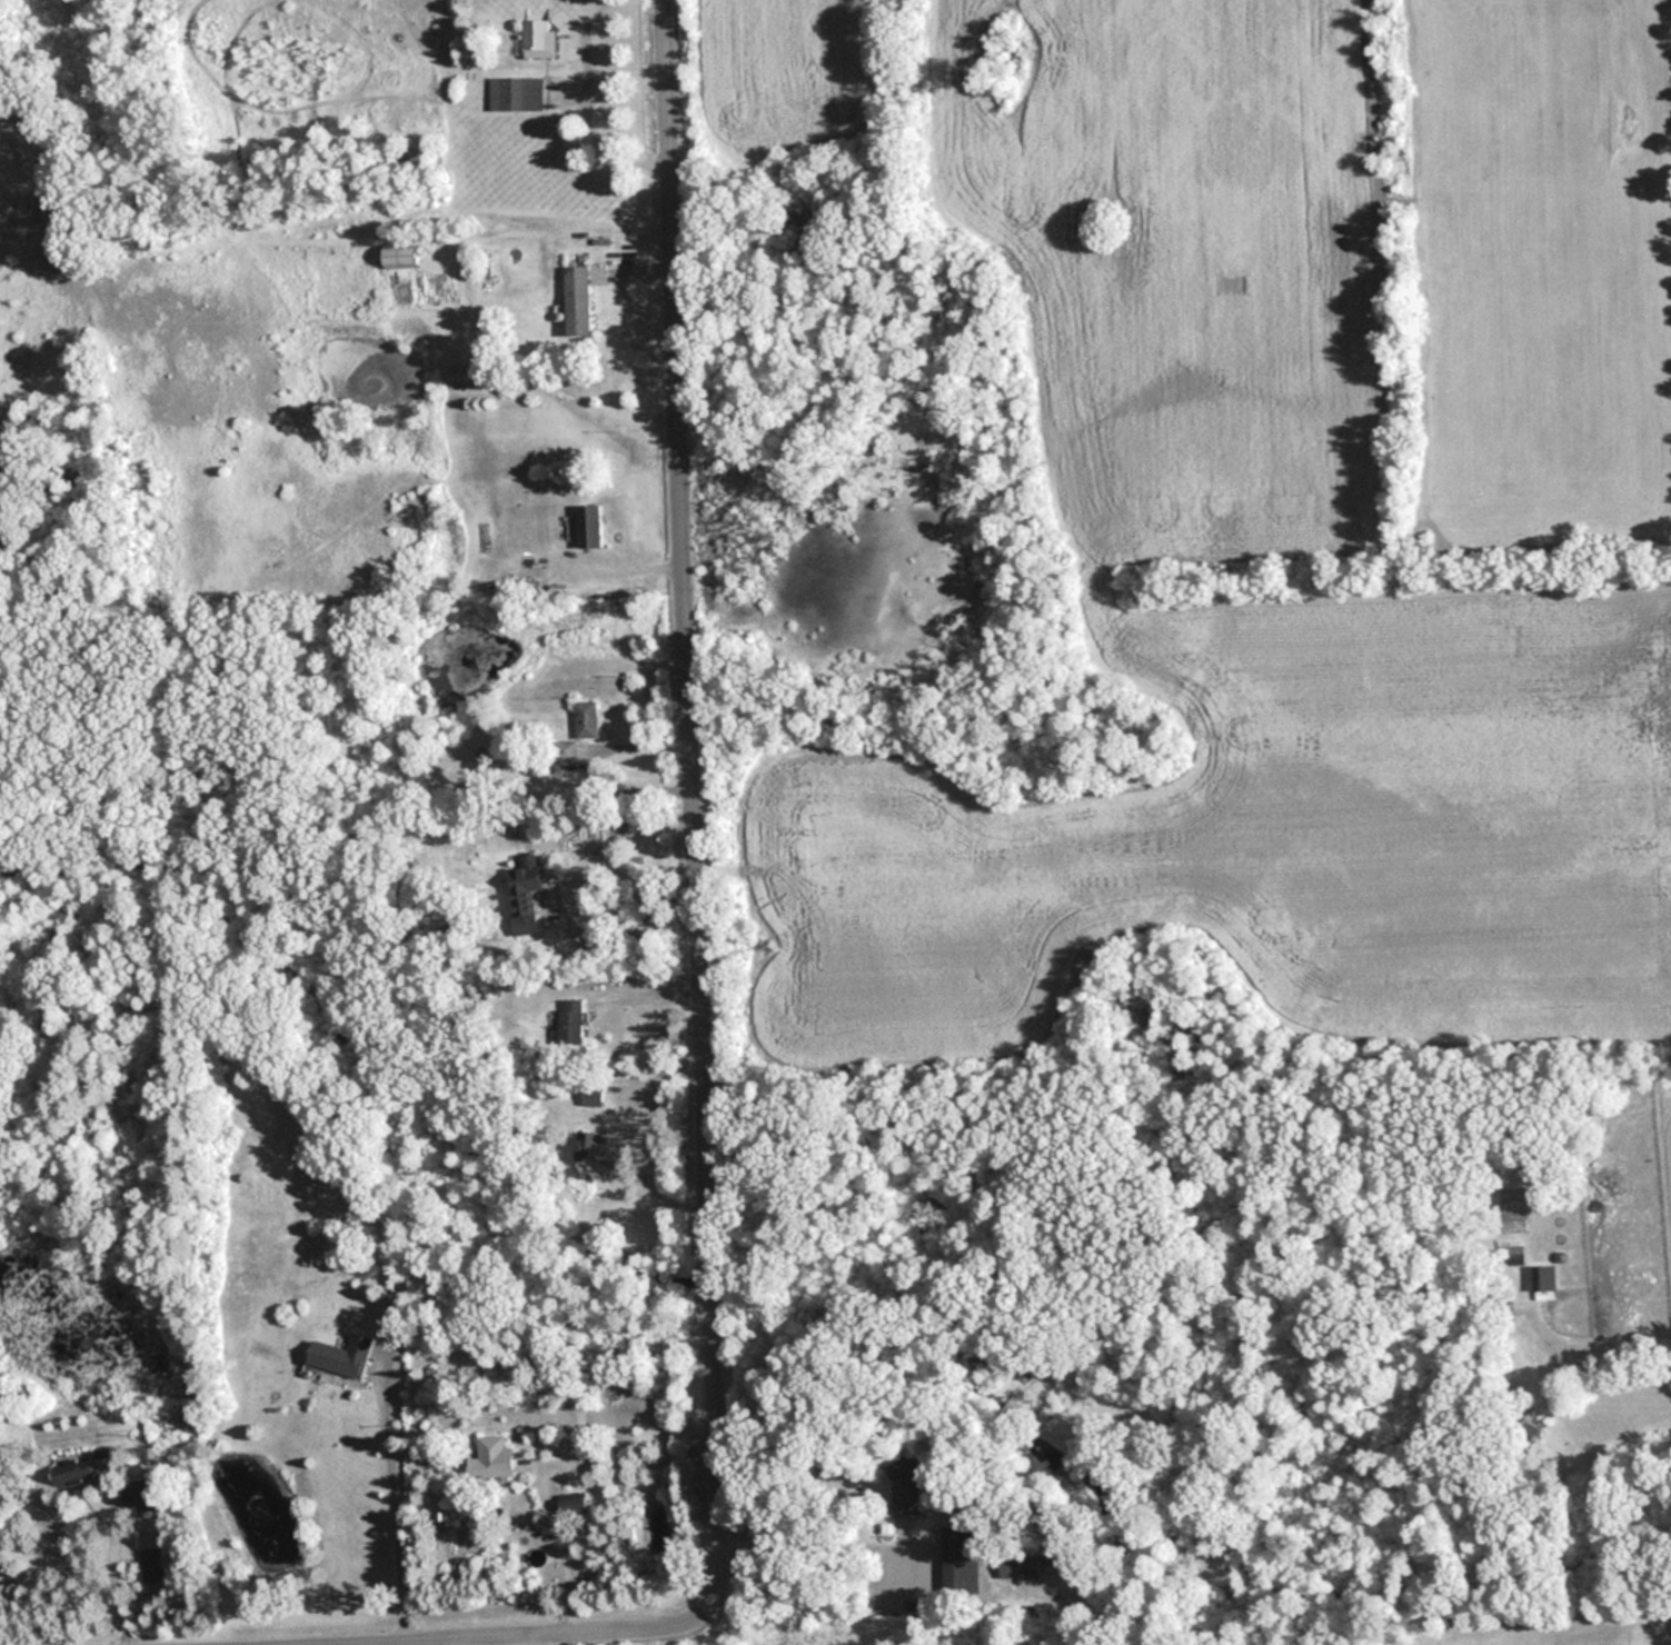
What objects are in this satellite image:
building: (540, 40)
building: (516, 94)
road: (581, 108)
building: (399, 255)
building: (577, 300)
building: (590, 526)
building: (588, 719)
building: (569, 750)
building: (527, 888)
road: (637, 914)
road: (707, 1109)
building: (590, 1146)
building: (1545, 1282)
building: (425, 1284)
road: (1609, 1348)
building: (340, 1356)
building: (493, 1458)
road: (553, 1463)
building: (86, 1466)
building: (908, 1489)
building: (143, 1493)
road: (395, 1499)
building: (575, 1506)
road: (817, 1547)
building: (959, 1561)
road: (112, 1563)
building: (152, 1565)
building: (1018, 1566)
road: (215, 1643)

